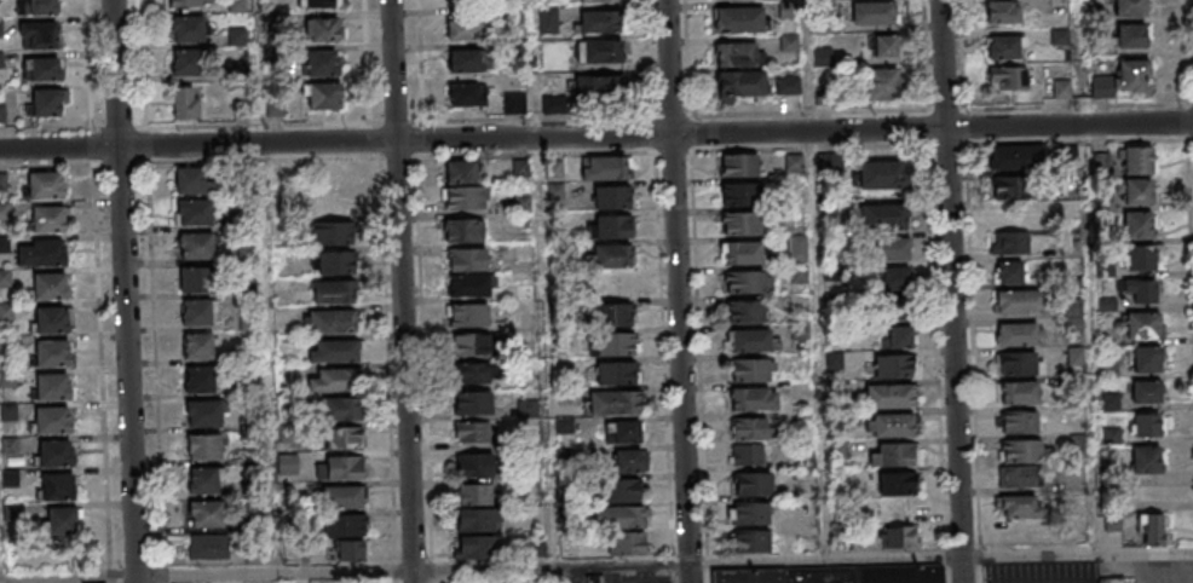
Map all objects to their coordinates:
building: (599, 0)
building: (185, 2)
building: (318, 2)
building: (462, 2)
building: (36, 6)
building: (1130, 7)
building: (1002, 11)
building: (877, 13)
building: (548, 18)
building: (739, 18)
building: (599, 21)
building: (189, 28)
building: (0, 29)
building: (324, 29)
building: (463, 29)
building: (38, 35)
building: (1131, 35)
building: (1007, 46)
building: (883, 47)
building: (603, 51)
building: (738, 53)
building: (1, 59)
building: (465, 59)
building: (185, 62)
building: (322, 62)
road: (803, 65)
building: (40, 69)
road: (391, 70)
building: (1133, 75)
building: (1008, 77)
building: (740, 83)
building: (788, 85)
building: (882, 85)
building: (599, 86)
building: (1056, 88)
building: (467, 94)
building: (322, 96)
building: (46, 102)
building: (186, 102)
building: (514, 102)
building: (554, 104)
building: (2, 112)
road: (793, 132)
road: (196, 145)
building: (1016, 158)
building: (1137, 160)
building: (794, 163)
building: (739, 164)
building: (611, 167)
building: (461, 172)
building: (881, 175)
building: (189, 180)
building: (46, 186)
building: (1010, 189)
building: (1136, 191)
building: (739, 194)
building: (611, 196)
building: (462, 197)
building: (194, 210)
building: (884, 217)
building: (48, 219)
building: (742, 223)
building: (1139, 224)
building: (611, 226)
building: (461, 229)
building: (332, 231)
building: (1010, 242)
building: (196, 244)
building: (891, 248)
building: (40, 252)
building: (742, 252)
building: (797, 252)
building: (611, 255)
building: (465, 258)
building: (1140, 258)
building: (335, 261)
building: (1010, 271)
building: (894, 278)
building: (196, 279)
building: (745, 282)
building: (47, 284)
road: (96, 284)
building: (467, 284)
road: (150, 288)
building: (1142, 289)
building: (330, 290)
road: (676, 290)
road: (123, 291)
road: (949, 291)
building: (1019, 301)
building: (195, 311)
building: (745, 311)
building: (467, 313)
building: (609, 313)
building: (50, 318)
building: (334, 319)
building: (1143, 324)
building: (1019, 334)
building: (898, 336)
building: (753, 339)
building: (612, 341)
building: (468, 344)
building: (196, 345)
building: (336, 350)
building: (51, 353)
building: (1077, 357)
building: (1147, 358)
road: (403, 362)
building: (1019, 363)
building: (894, 364)
building: (753, 368)
building: (613, 371)
building: (467, 373)
building: (197, 379)
building: (334, 379)
building: (51, 386)
building: (1147, 391)
building: (1019, 392)
building: (889, 394)
building: (754, 398)
building: (617, 400)
building: (469, 402)
building: (340, 408)
building: (203, 411)
building: (50, 420)
building: (1020, 422)
building: (889, 423)
building: (1147, 425)
building: (751, 427)
building: (472, 431)
building: (623, 431)
building: (340, 438)
building: (202, 445)
building: (53, 452)
building: (1022, 452)
building: (748, 454)
building: (895, 454)
building: (629, 460)
building: (1147, 460)
building: (471, 463)
building: (341, 467)
building: (1015, 478)
building: (200, 480)
building: (898, 483)
building: (751, 484)
building: (56, 485)
building: (623, 489)
building: (474, 493)
building: (340, 497)
building: (1019, 507)
building: (203, 513)
building: (750, 514)
building: (618, 515)
building: (60, 519)
building: (473, 519)
building: (342, 525)
building: (1151, 529)
building: (900, 535)
building: (751, 542)
building: (627, 543)
building: (206, 547)
building: (473, 547)
building: (350, 550)
road: (595, 566)
parking lot: (1152, 570)
parking lot: (1045, 572)
building: (836, 573)
parking lot: (650, 577)
building: (594, 579)
building: (1116, 579)

